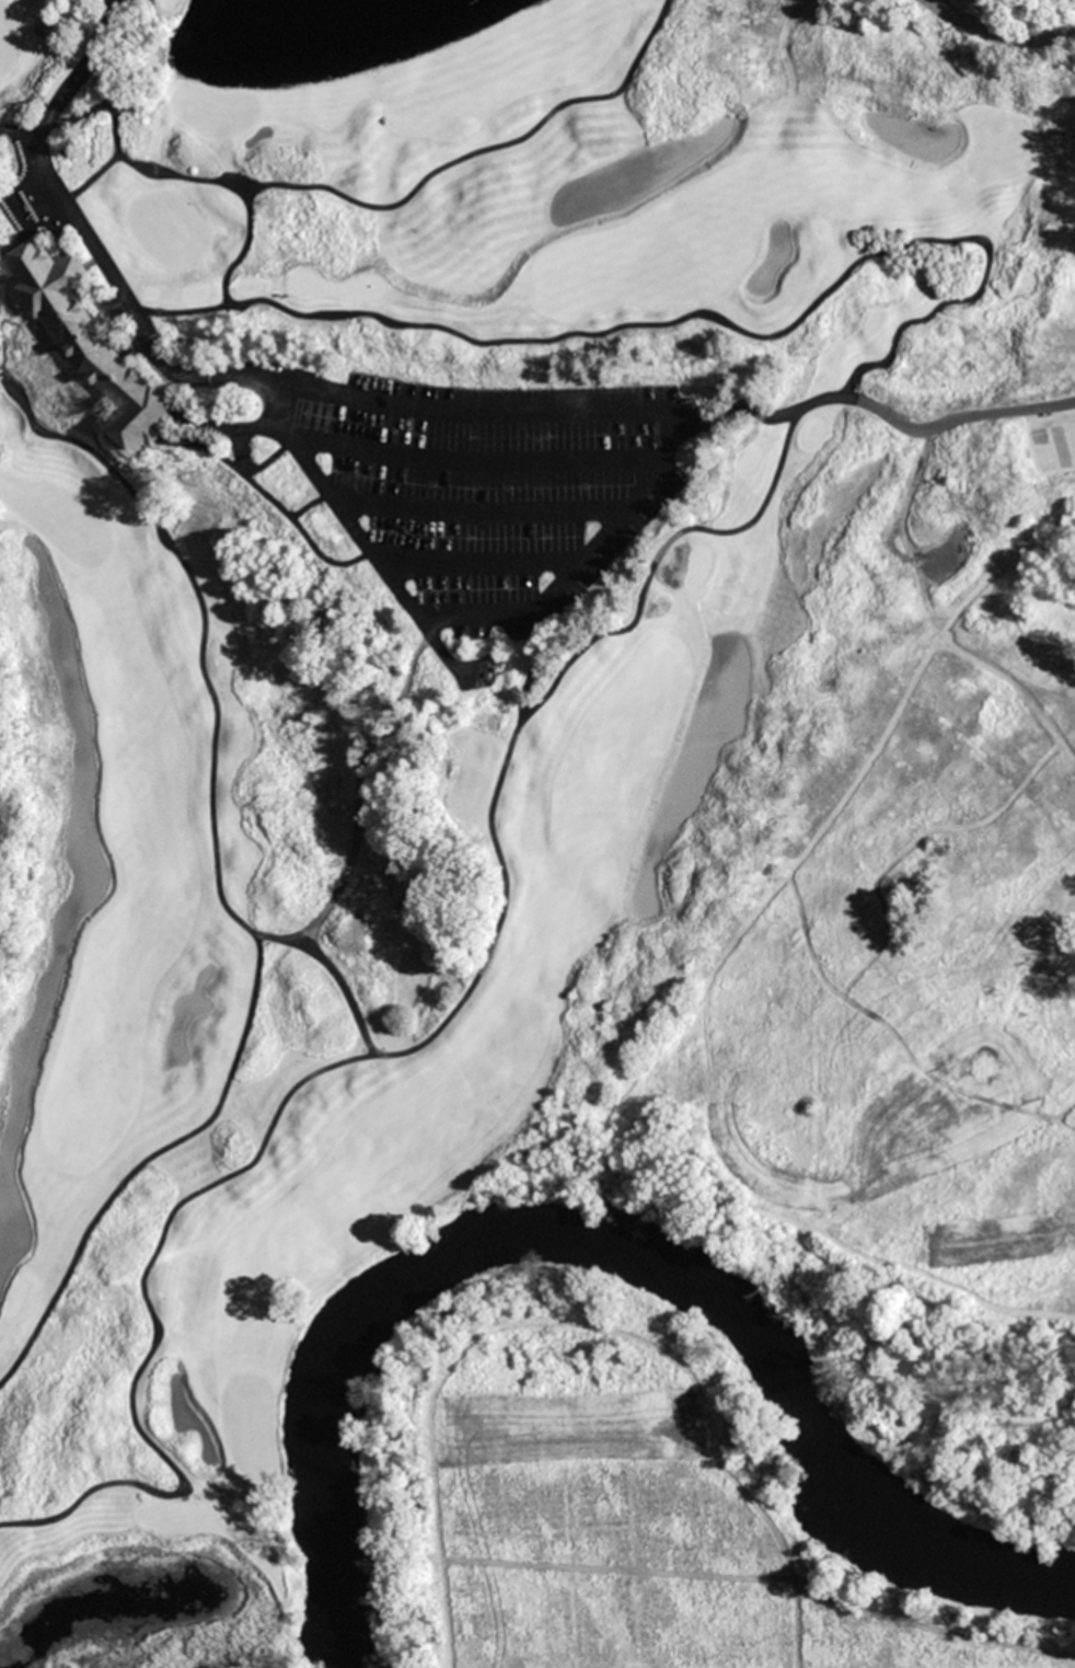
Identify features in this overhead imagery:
road: (999, 35)
park: (8, 39)
park: (210, 111)
park: (995, 146)
road: (89, 176)
road: (391, 207)
park: (165, 227)
road: (83, 240)
building: (91, 341)
road: (479, 463)
parking lot: (489, 488)
road: (639, 495)
road: (483, 513)
park: (58, 518)
road: (481, 564)
park: (537, 833)
river: (594, 1266)
park: (250, 1426)

